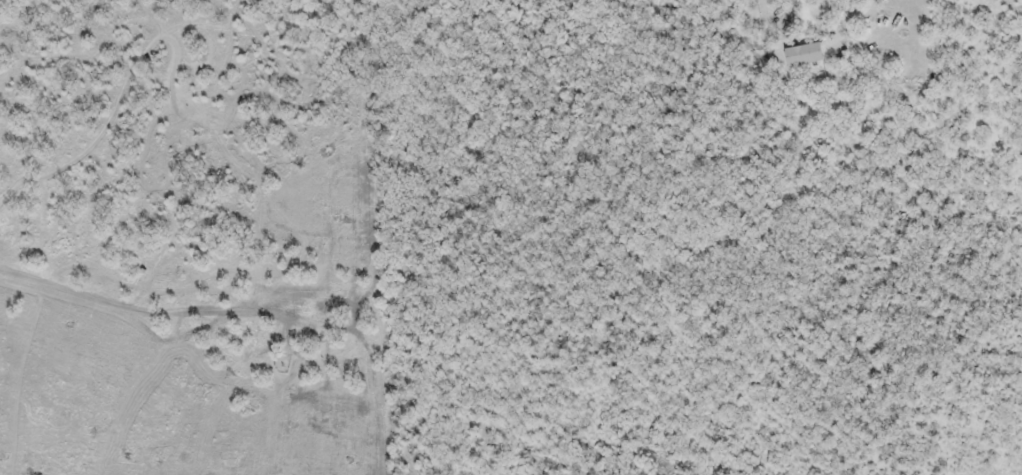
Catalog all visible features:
road: (833, 24)
building: (810, 59)

